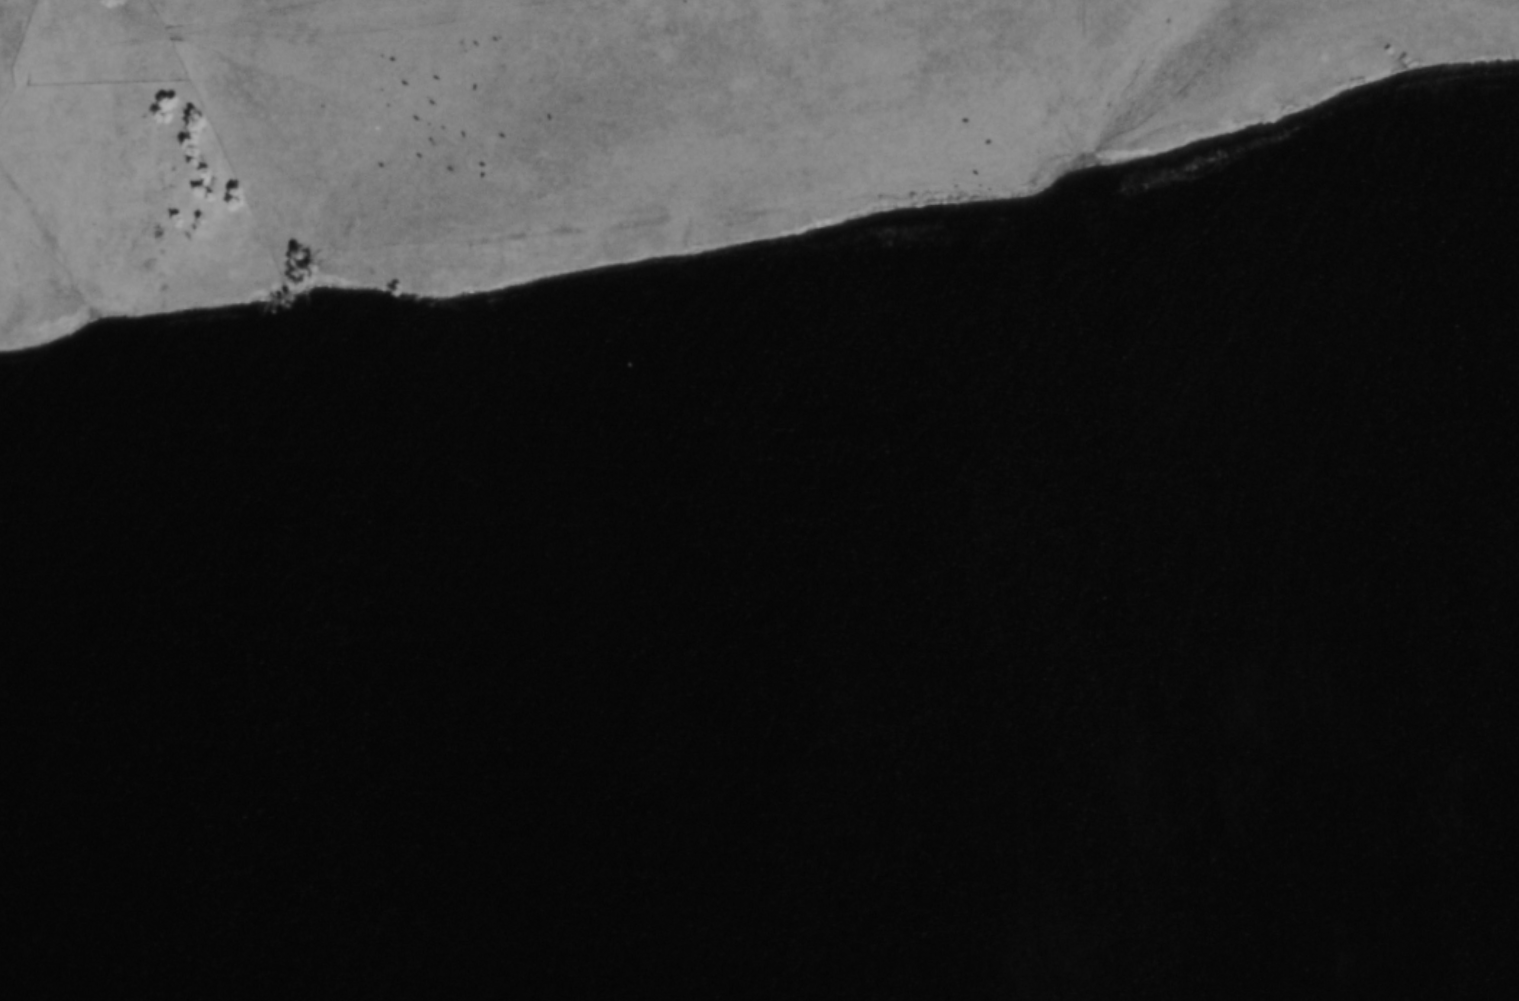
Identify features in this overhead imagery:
road: (67, 210)

